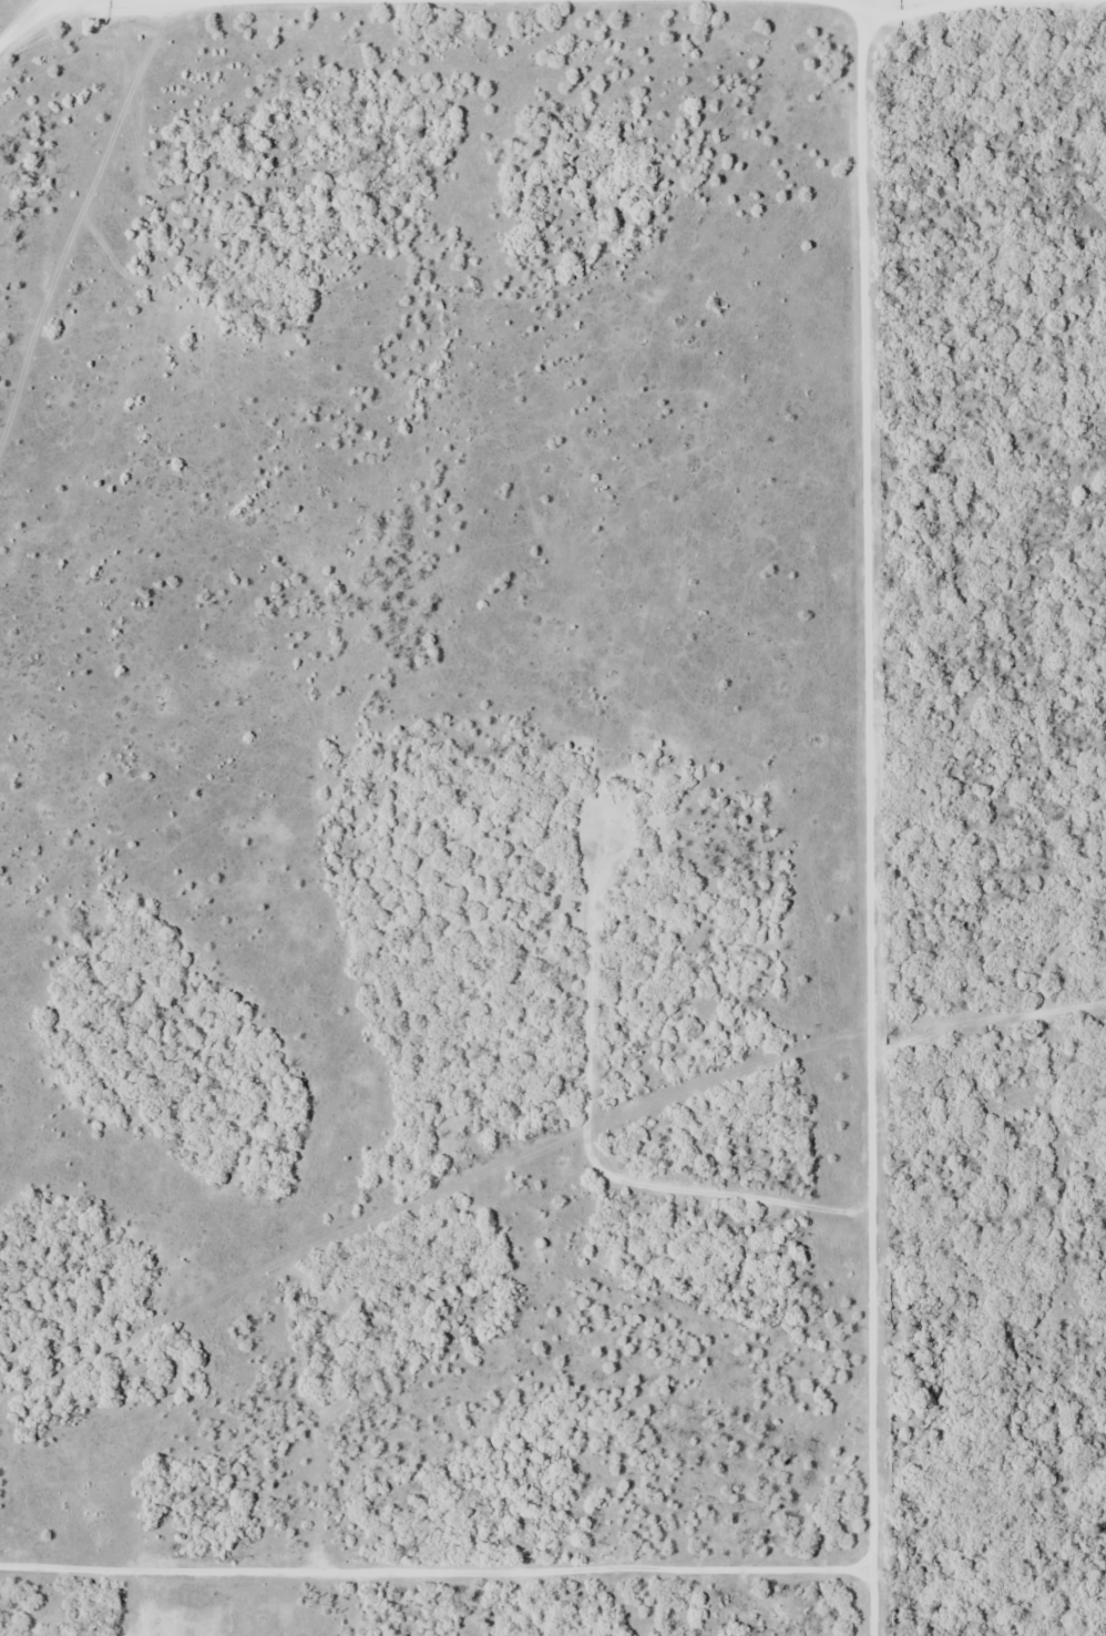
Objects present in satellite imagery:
road: (182, 1)
road: (23, 24)
road: (880, 818)
road: (444, 1545)
road: (436, 1577)

